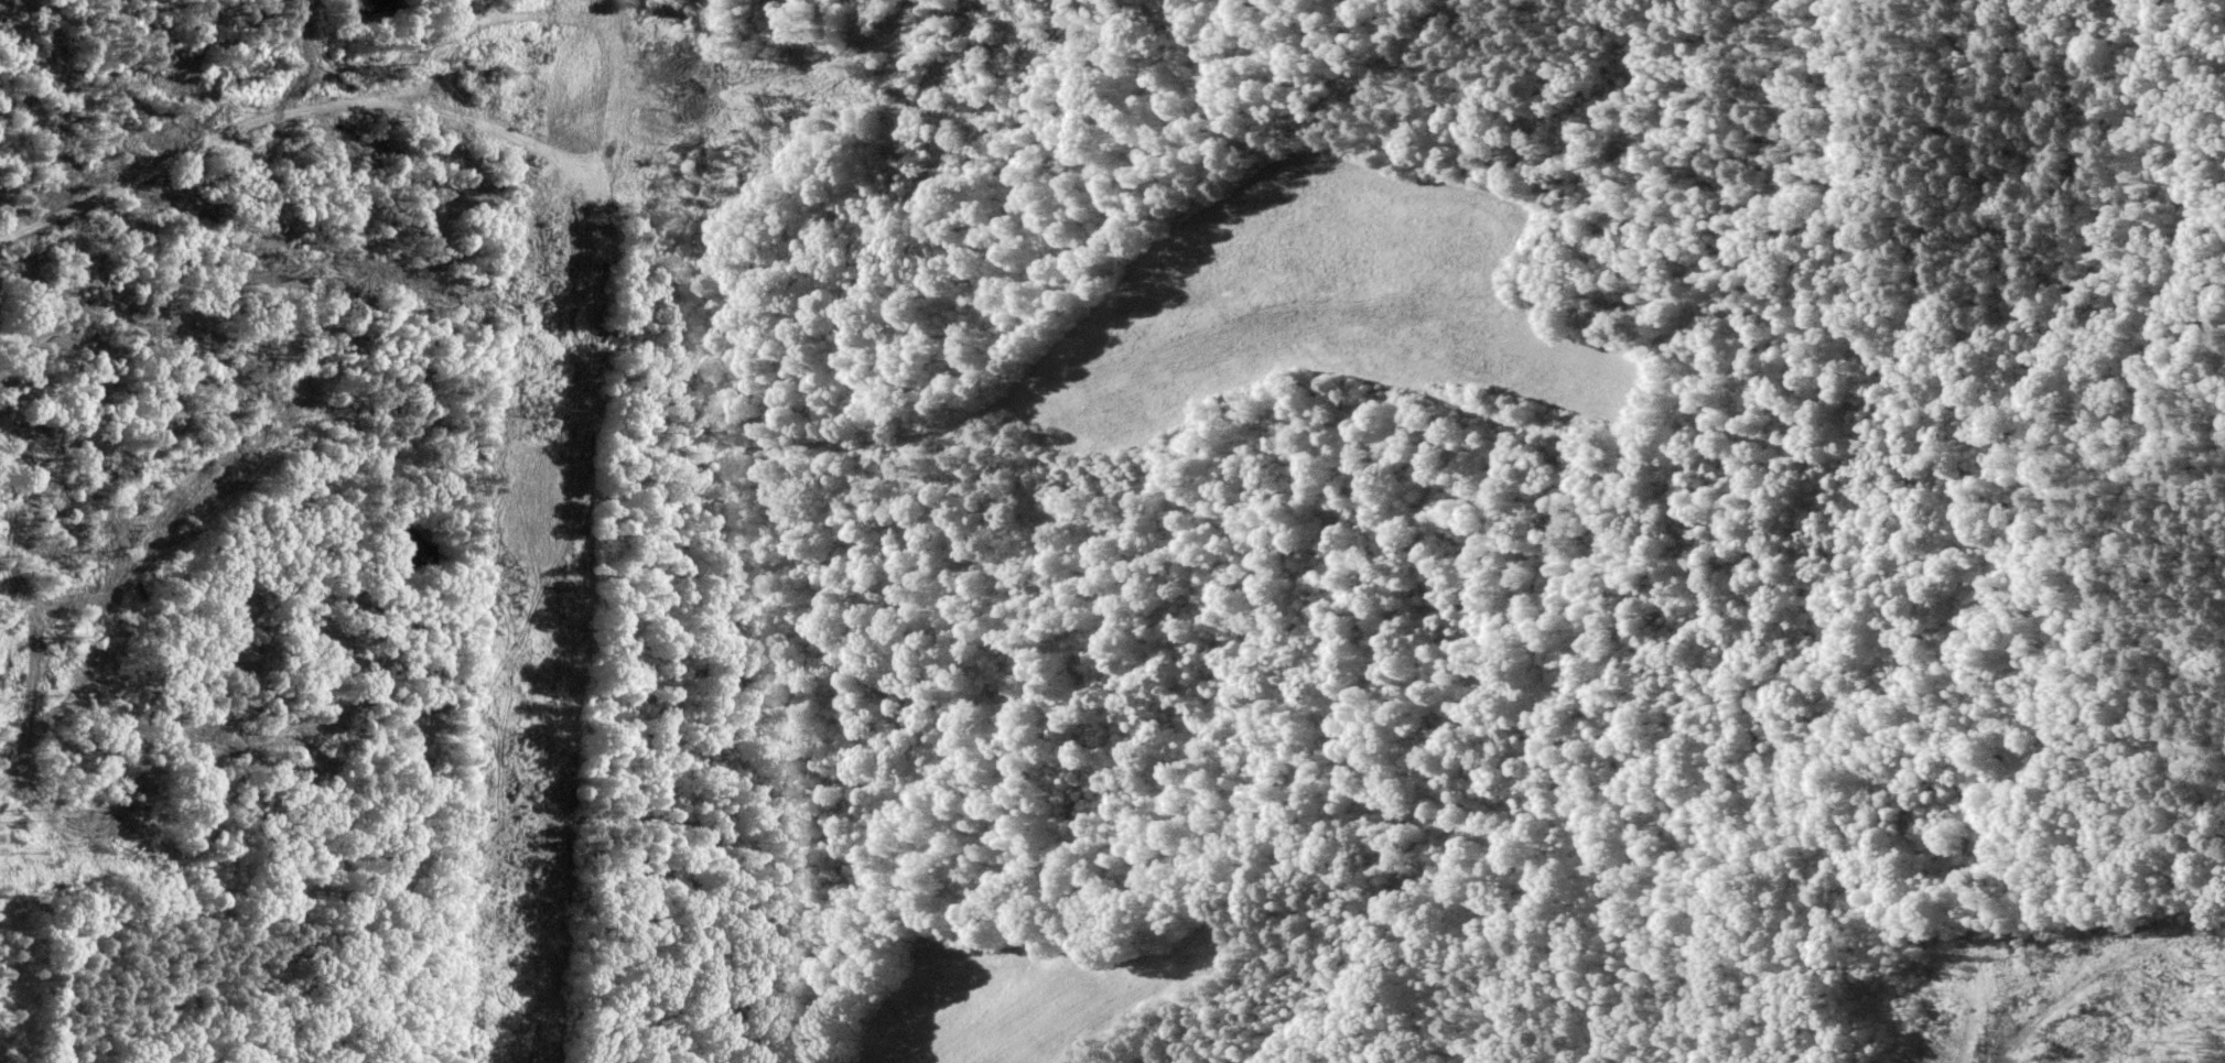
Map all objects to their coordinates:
power tower: (546, 410)

